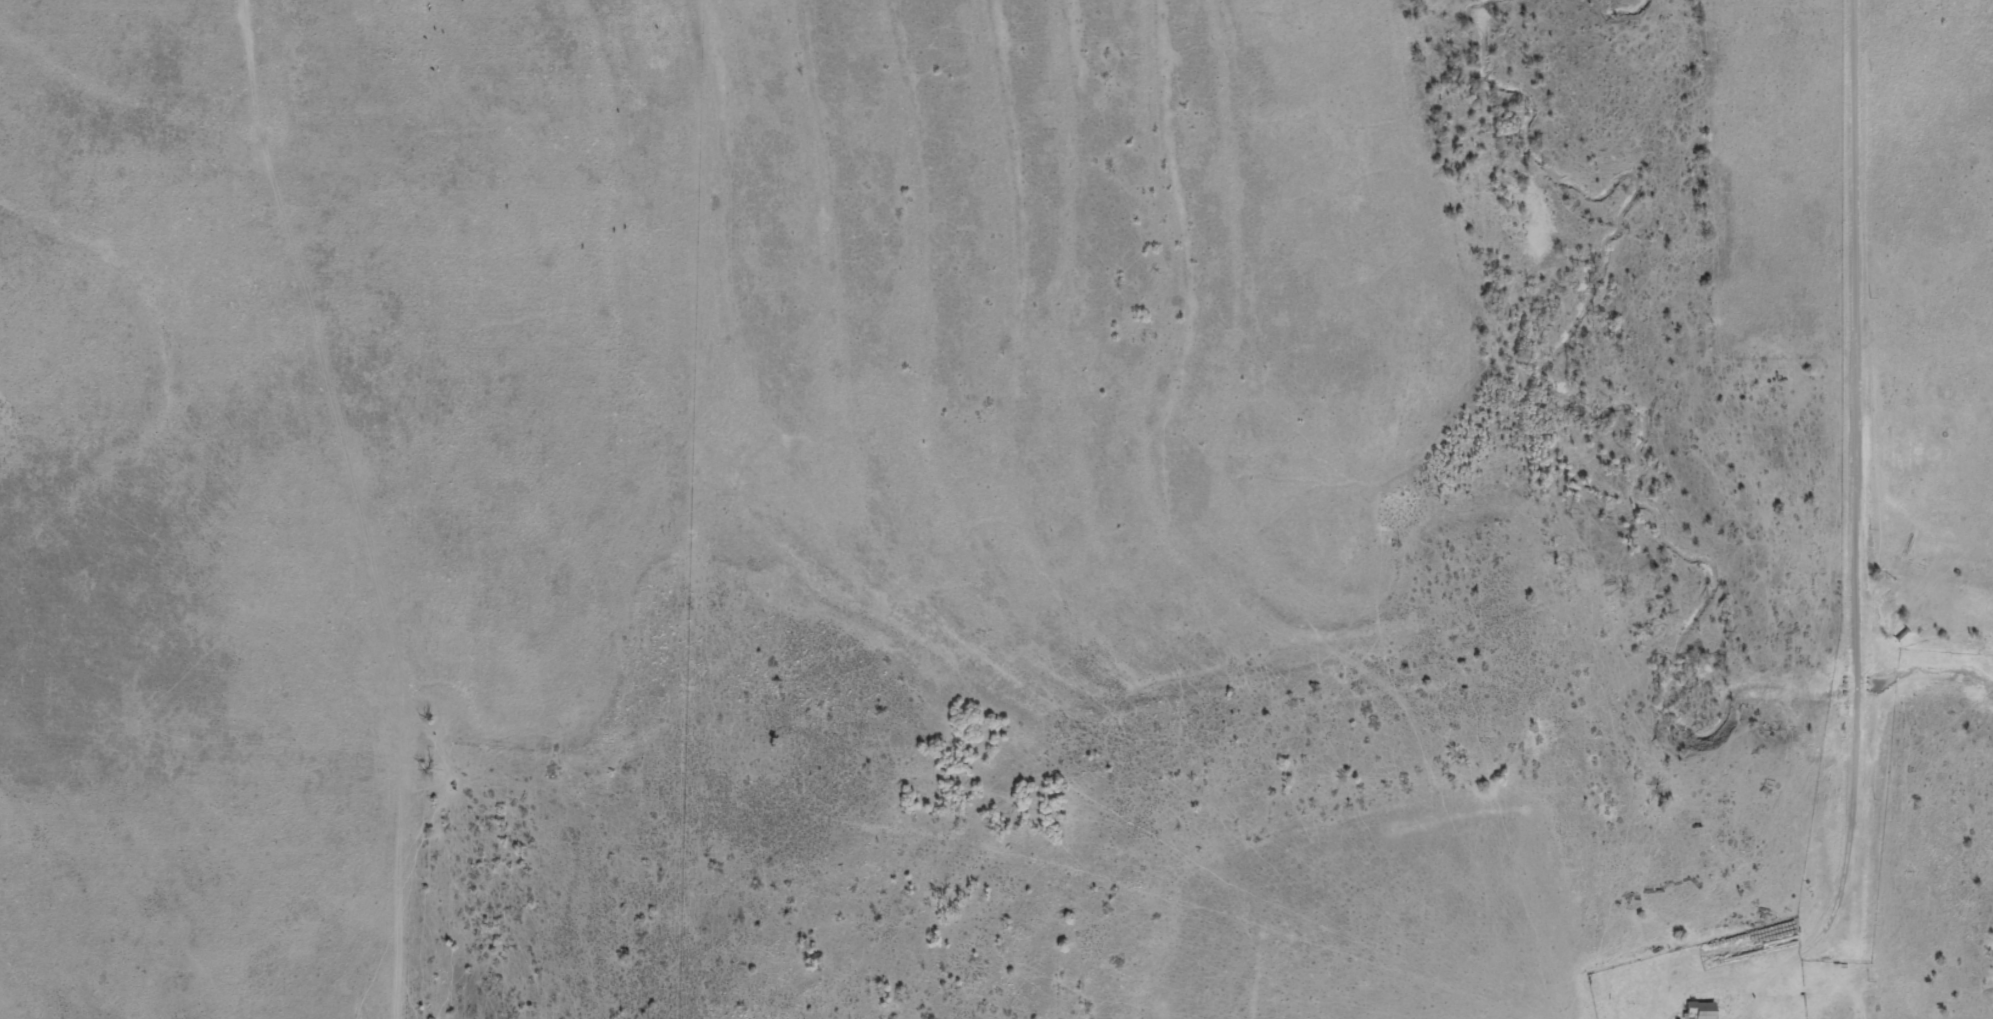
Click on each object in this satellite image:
road: (1858, 509)
road: (1822, 939)
building: (1702, 1011)

